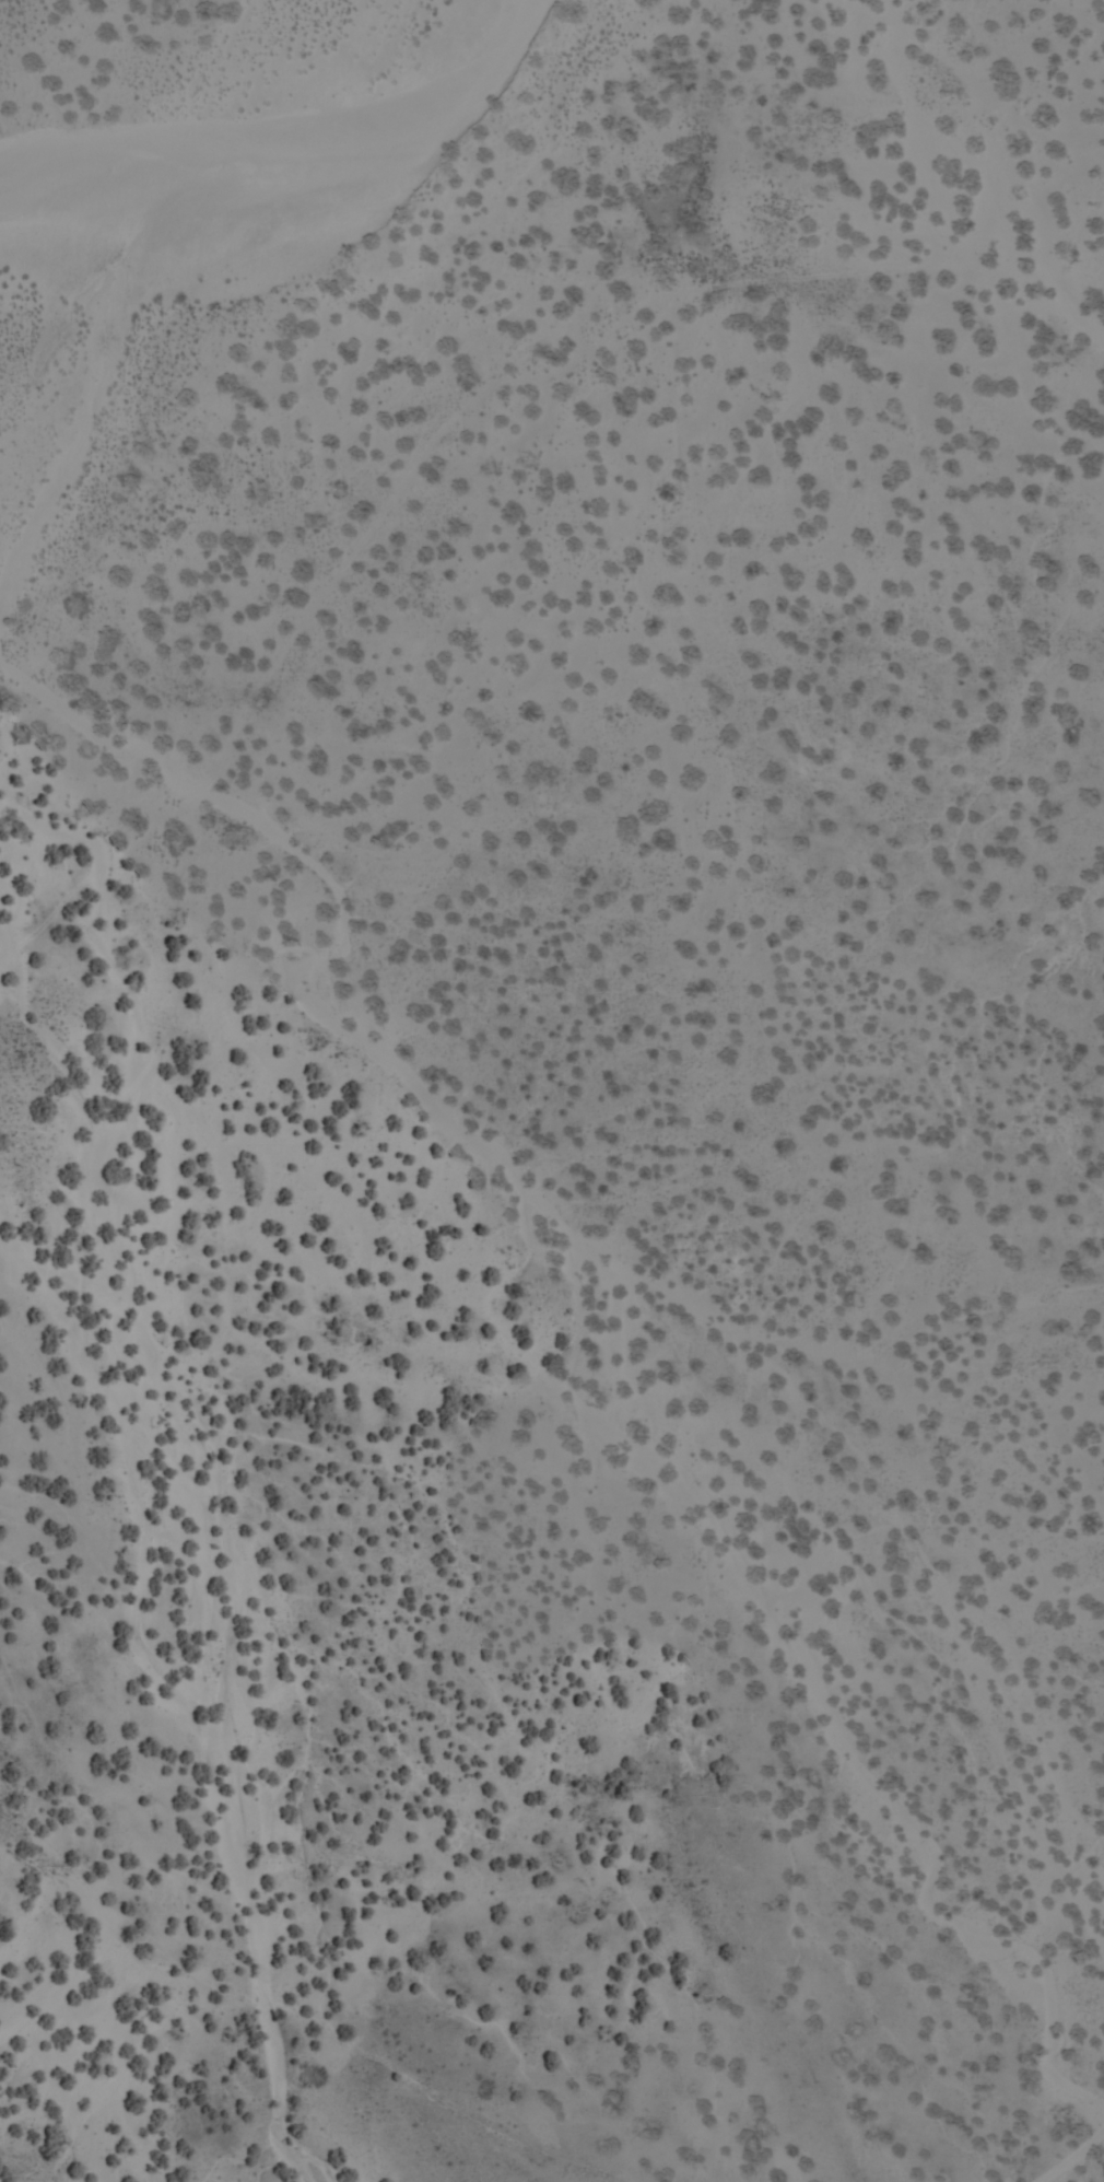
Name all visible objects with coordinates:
road: (1079, 2152)

